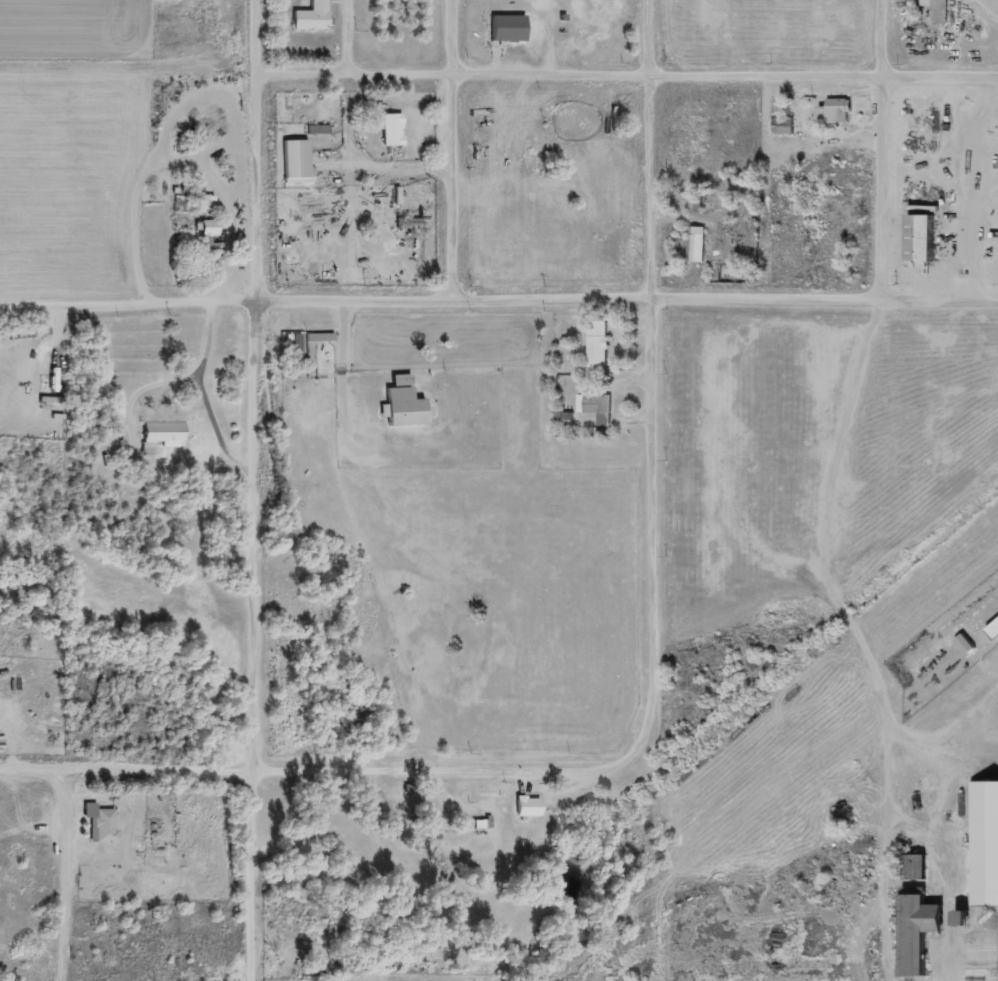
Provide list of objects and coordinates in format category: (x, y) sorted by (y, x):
building: (937, 10)
building: (311, 16)
building: (508, 28)
road: (628, 77)
building: (835, 111)
building: (783, 126)
building: (392, 130)
road: (881, 148)
road: (458, 150)
road: (656, 150)
road: (260, 151)
building: (295, 161)
building: (206, 231)
building: (919, 238)
building: (695, 245)
road: (498, 300)
building: (598, 344)
building: (402, 403)
building: (596, 408)
building: (165, 434)
road: (652, 535)
building: (994, 630)
road: (257, 641)
building: (964, 645)
road: (316, 768)
road: (974, 771)
building: (527, 806)
building: (101, 823)
building: (984, 842)
building: (915, 867)
road: (66, 875)
building: (916, 932)

